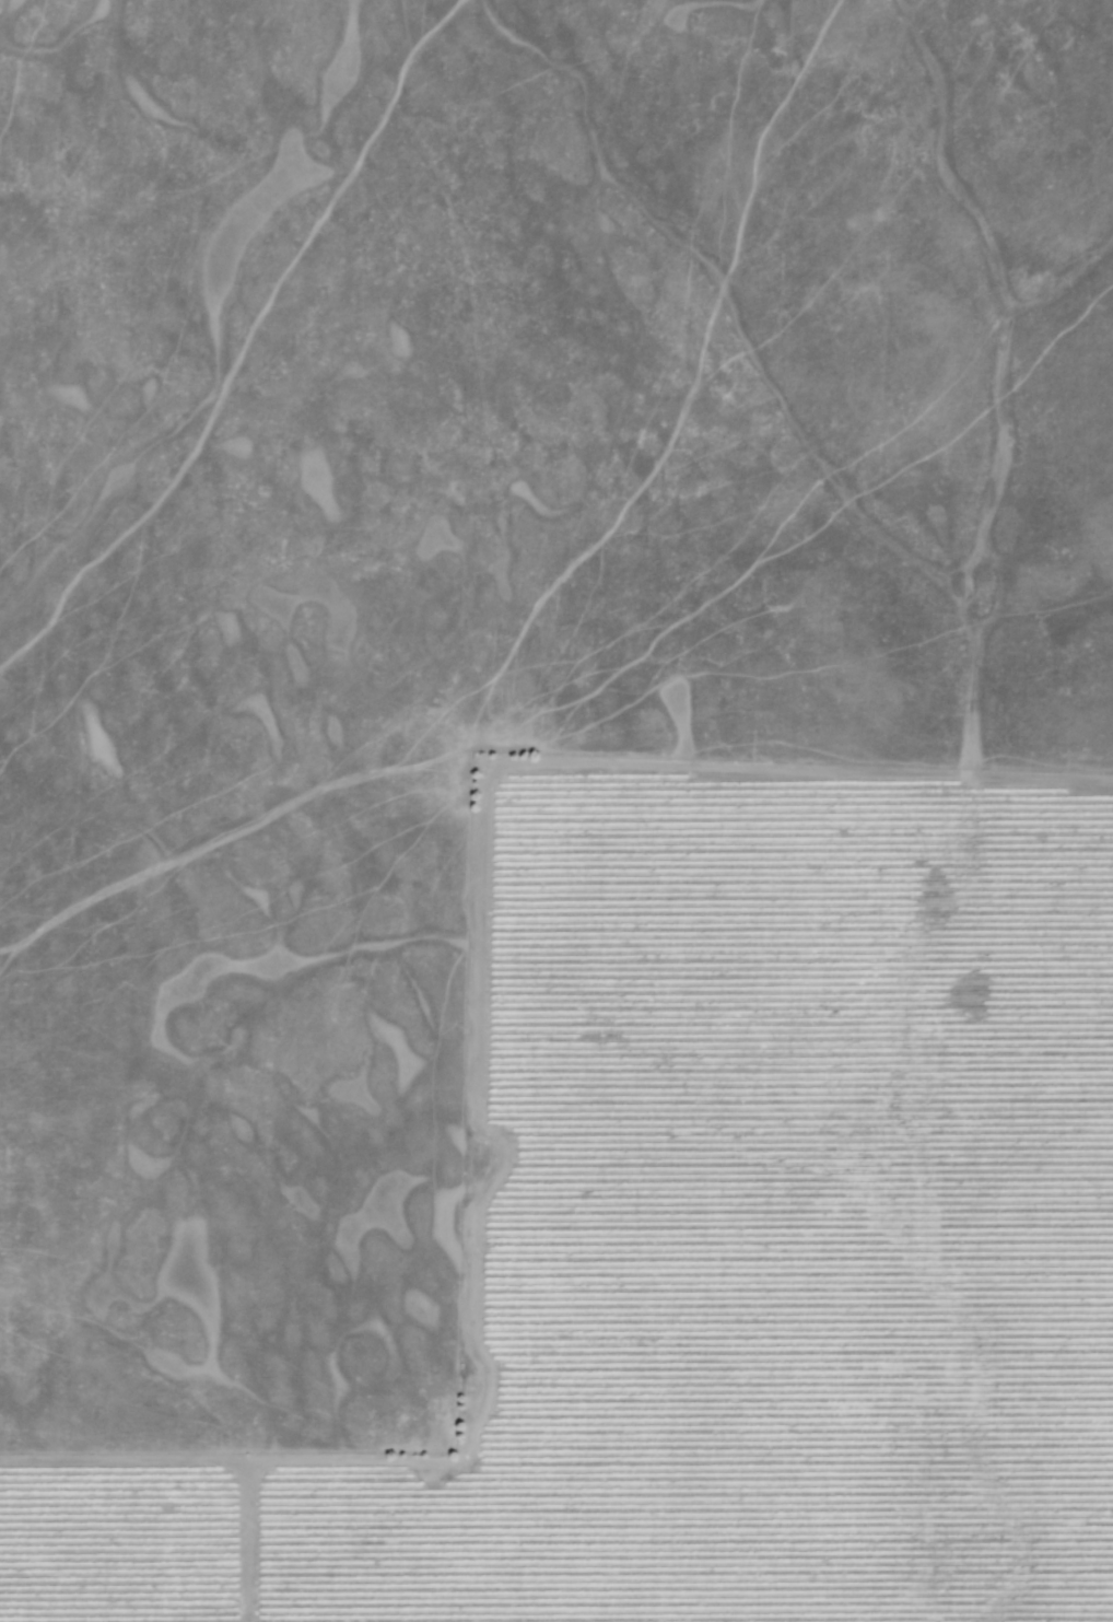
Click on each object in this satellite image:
crop: (720, 1229)

